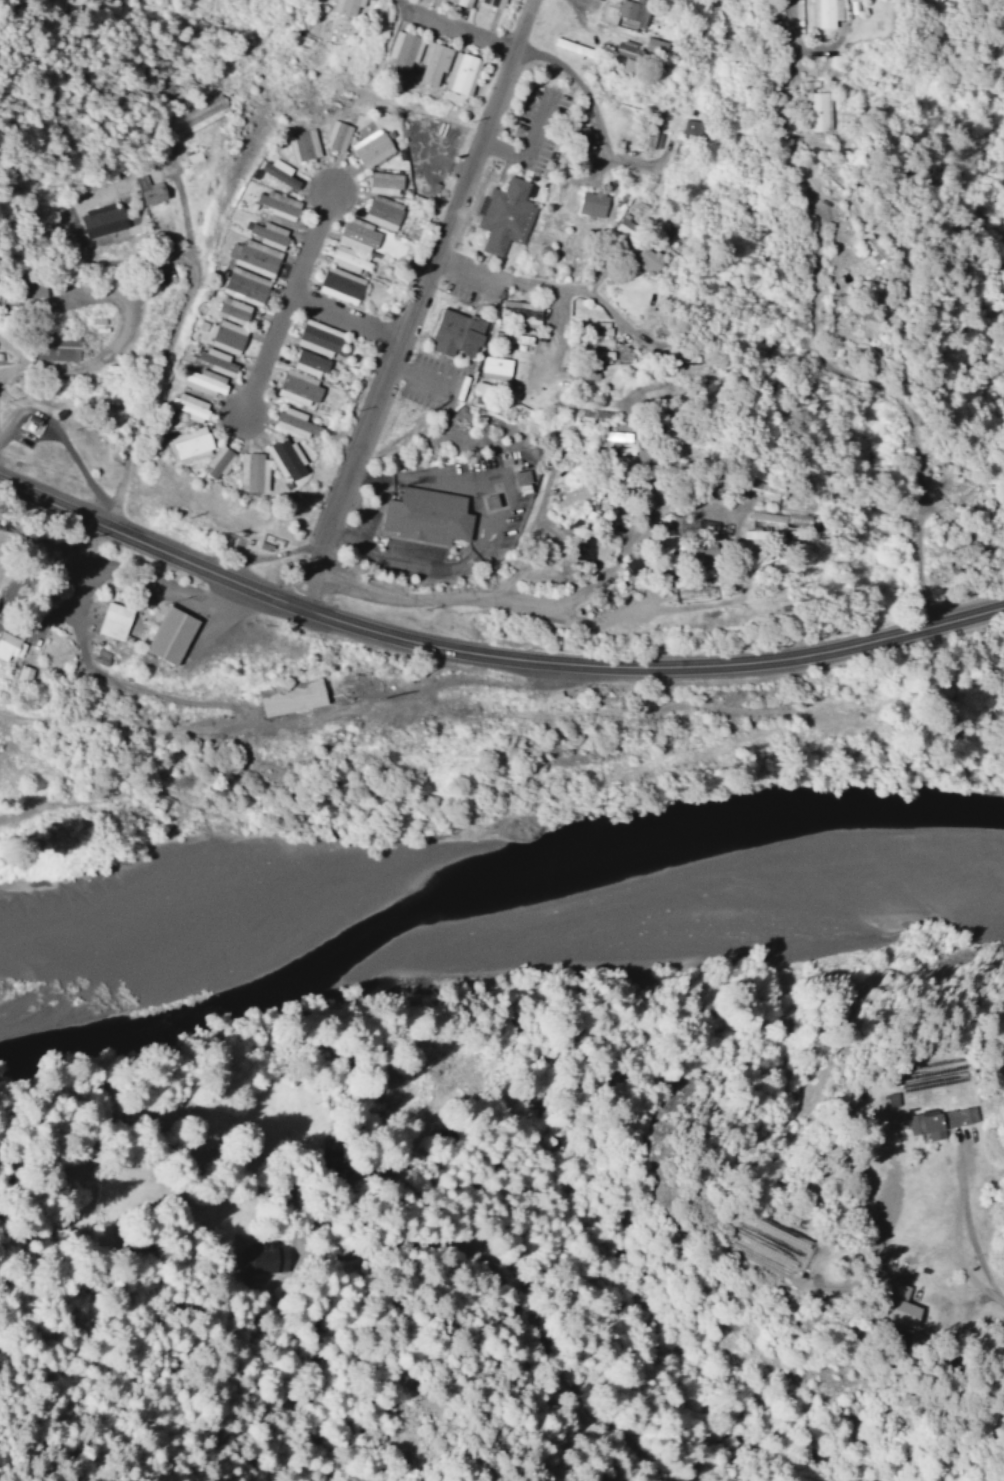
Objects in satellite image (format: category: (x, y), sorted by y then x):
building: (461, 2)
building: (492, 2)
building: (346, 6)
building: (823, 13)
building: (630, 14)
road: (581, 25)
road: (460, 37)
building: (654, 46)
building: (623, 48)
building: (403, 51)
building: (432, 62)
building: (460, 72)
building: (815, 111)
road: (595, 113)
building: (690, 127)
building: (649, 129)
building: (336, 135)
building: (579, 135)
building: (301, 143)
building: (370, 147)
building: (277, 171)
building: (383, 182)
building: (276, 203)
building: (590, 203)
building: (380, 213)
building: (504, 215)
building: (100, 219)
building: (267, 233)
building: (355, 235)
building: (869, 252)
building: (252, 255)
building: (345, 258)
building: (645, 259)
road: (601, 272)
building: (243, 284)
building: (338, 284)
building: (30, 288)
road: (420, 307)
building: (230, 308)
road: (288, 310)
building: (518, 310)
road: (348, 325)
building: (453, 332)
building: (225, 335)
building: (317, 336)
road: (552, 343)
building: (54, 346)
building: (595, 347)
building: (215, 360)
building: (307, 362)
building: (494, 367)
road: (164, 368)
building: (580, 372)
building: (202, 381)
building: (296, 386)
building: (189, 406)
road: (910, 411)
building: (294, 419)
building: (187, 445)
building: (285, 458)
building: (217, 462)
building: (251, 471)
building: (519, 476)
building: (423, 514)
building: (779, 516)
building: (705, 525)
building: (753, 533)
building: (664, 541)
building: (582, 548)
road: (526, 549)
road: (81, 568)
building: (702, 573)
road: (541, 602)
road: (648, 610)
building: (112, 620)
building: (168, 634)
building: (9, 645)
road: (490, 659)
building: (20, 673)
building: (290, 696)
road: (188, 734)
road: (305, 752)
river: (579, 859)
river: (166, 967)
river: (143, 994)
river: (63, 1037)
building: (939, 1120)
road: (386, 1252)
building: (267, 1257)
building: (895, 1305)

